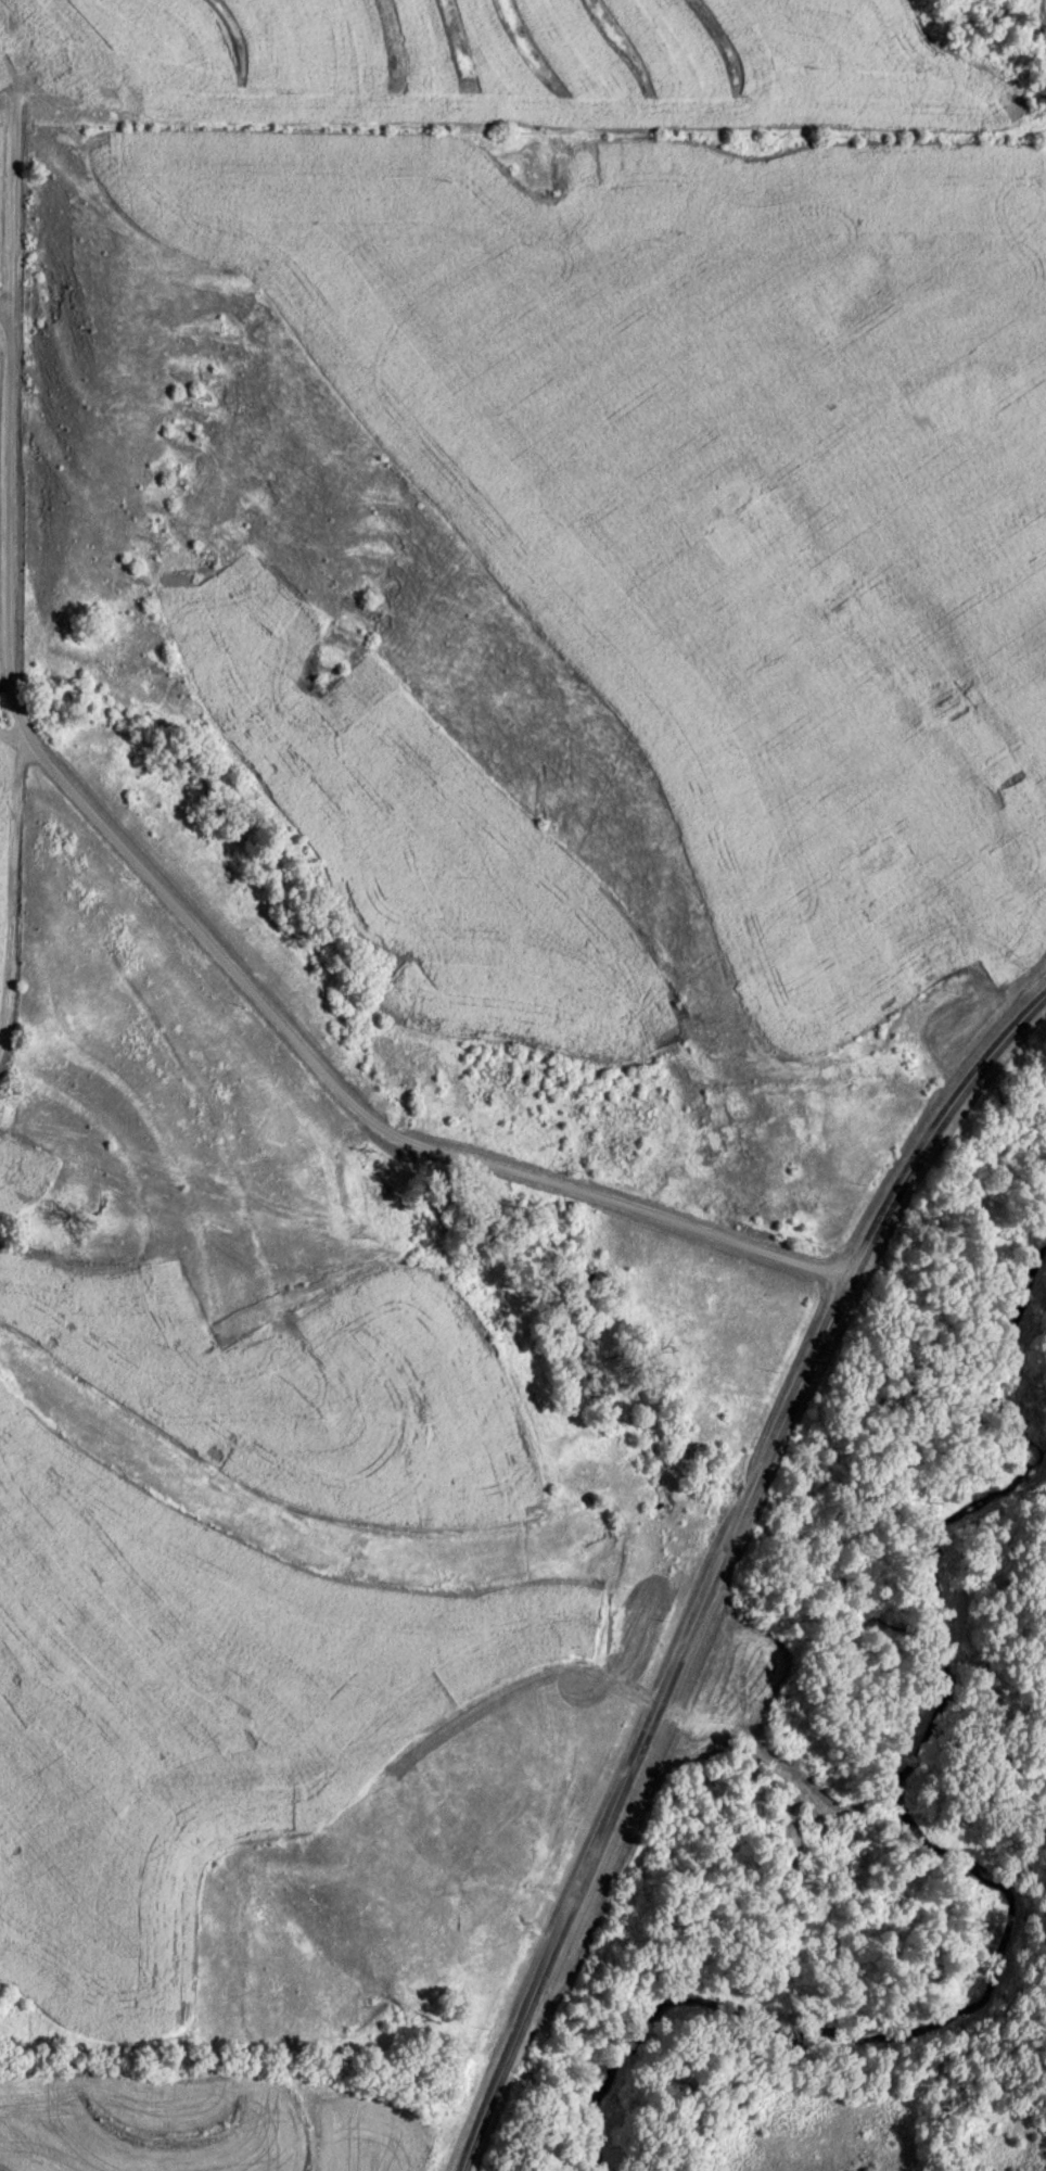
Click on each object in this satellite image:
road: (717, 1559)

